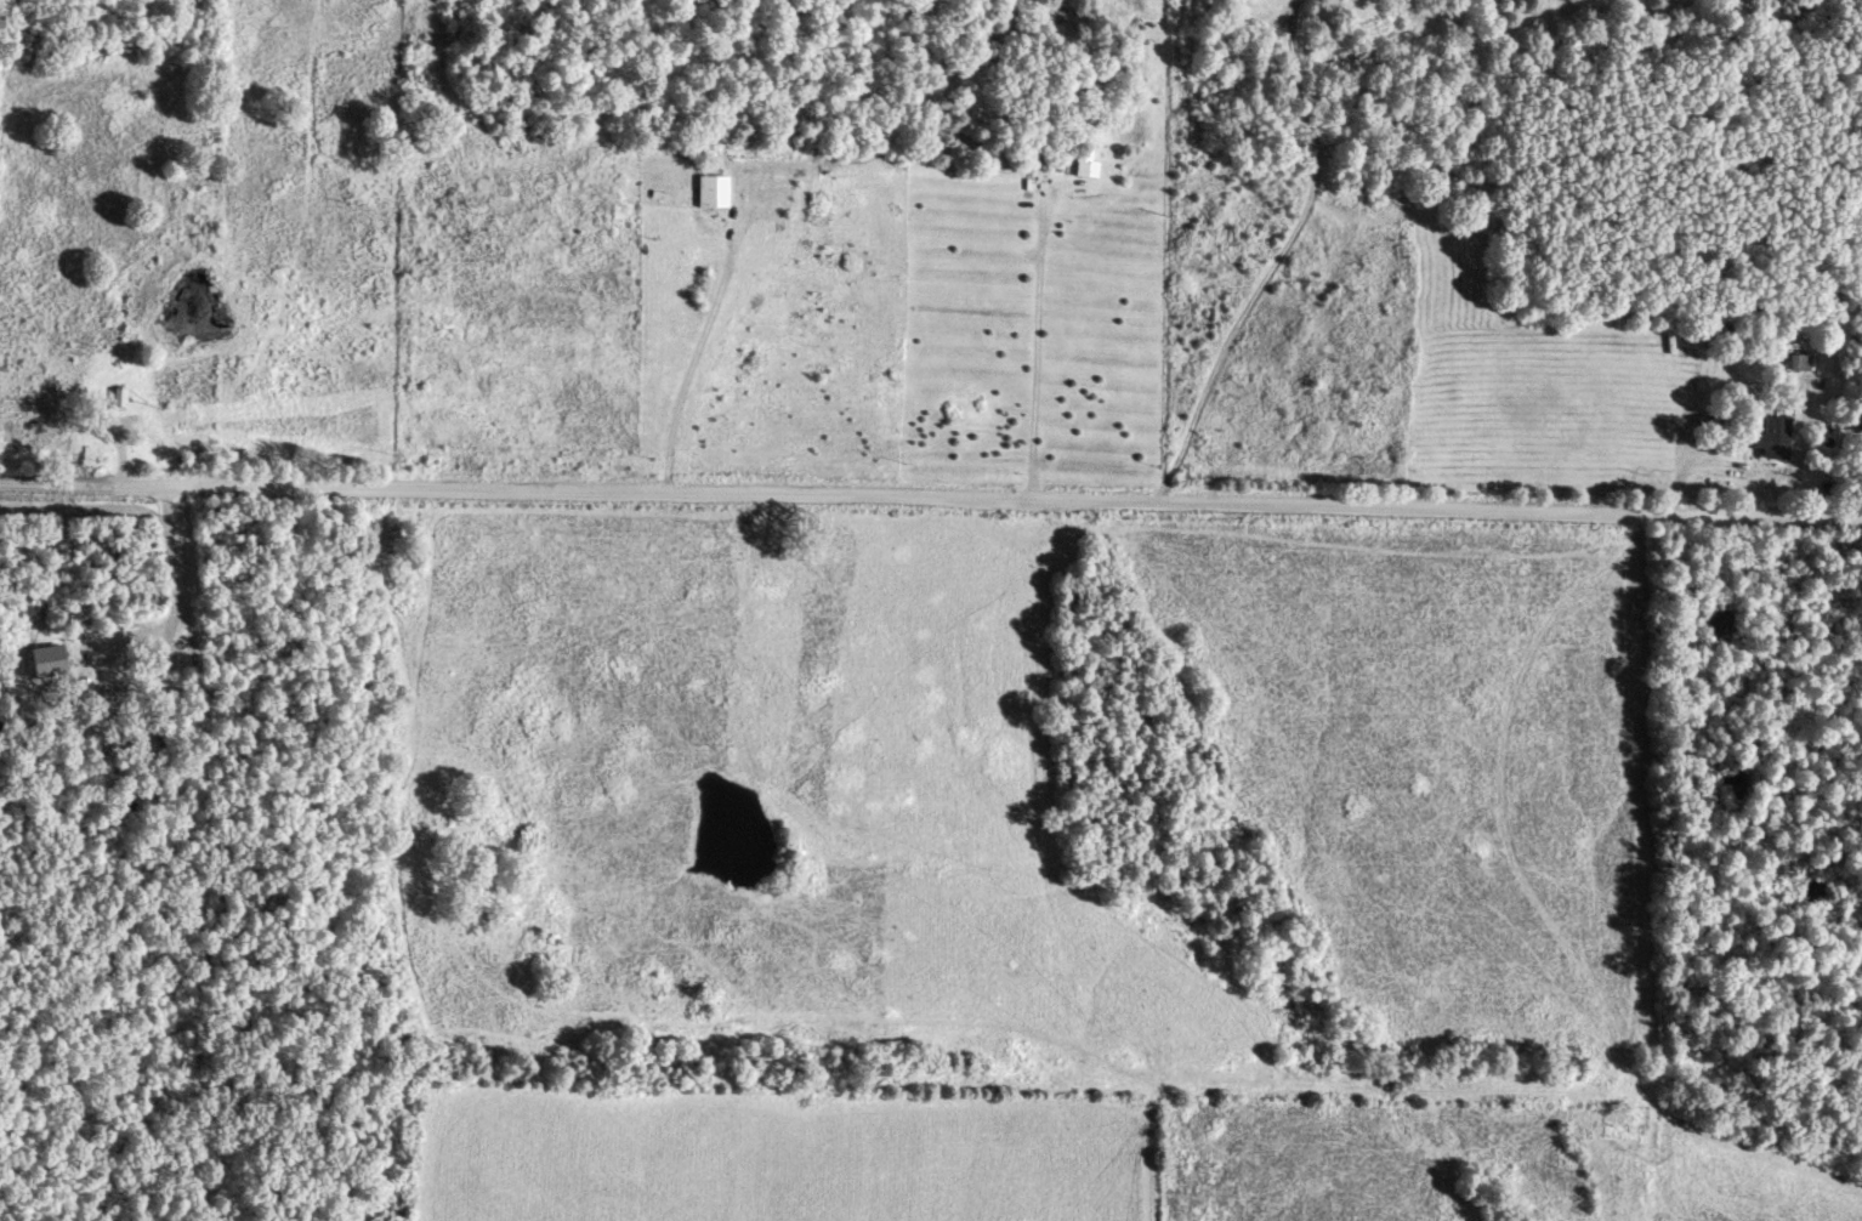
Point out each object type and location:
road: (1199, 141)
building: (706, 194)
road: (1109, 259)
building: (1767, 441)
road: (931, 496)
road: (471, 655)
building: (103, 698)
building: (140, 740)

